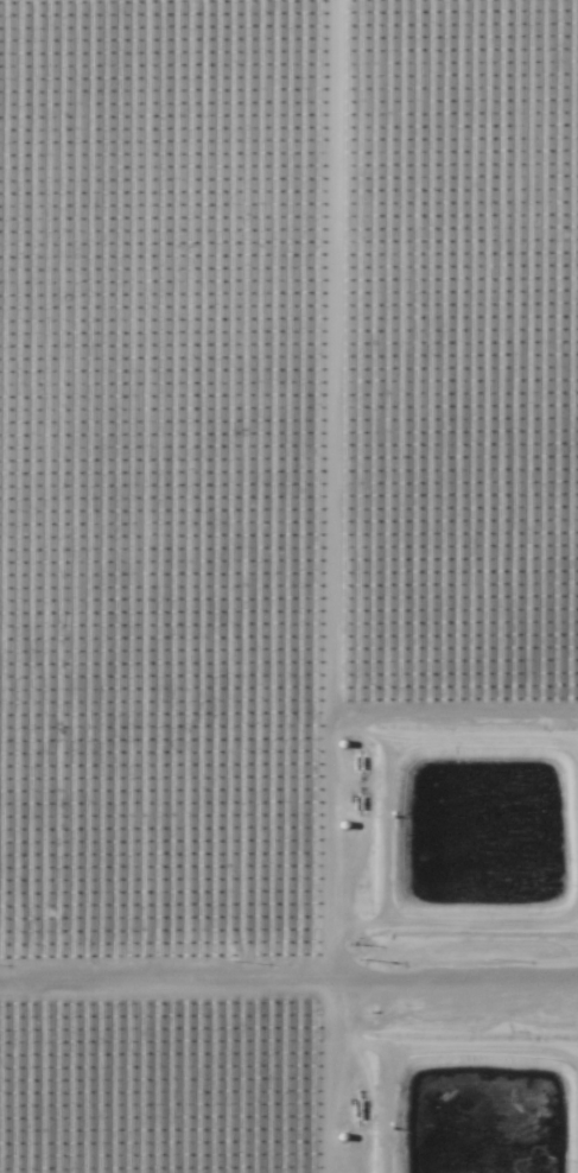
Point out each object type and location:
road: (288, 989)

